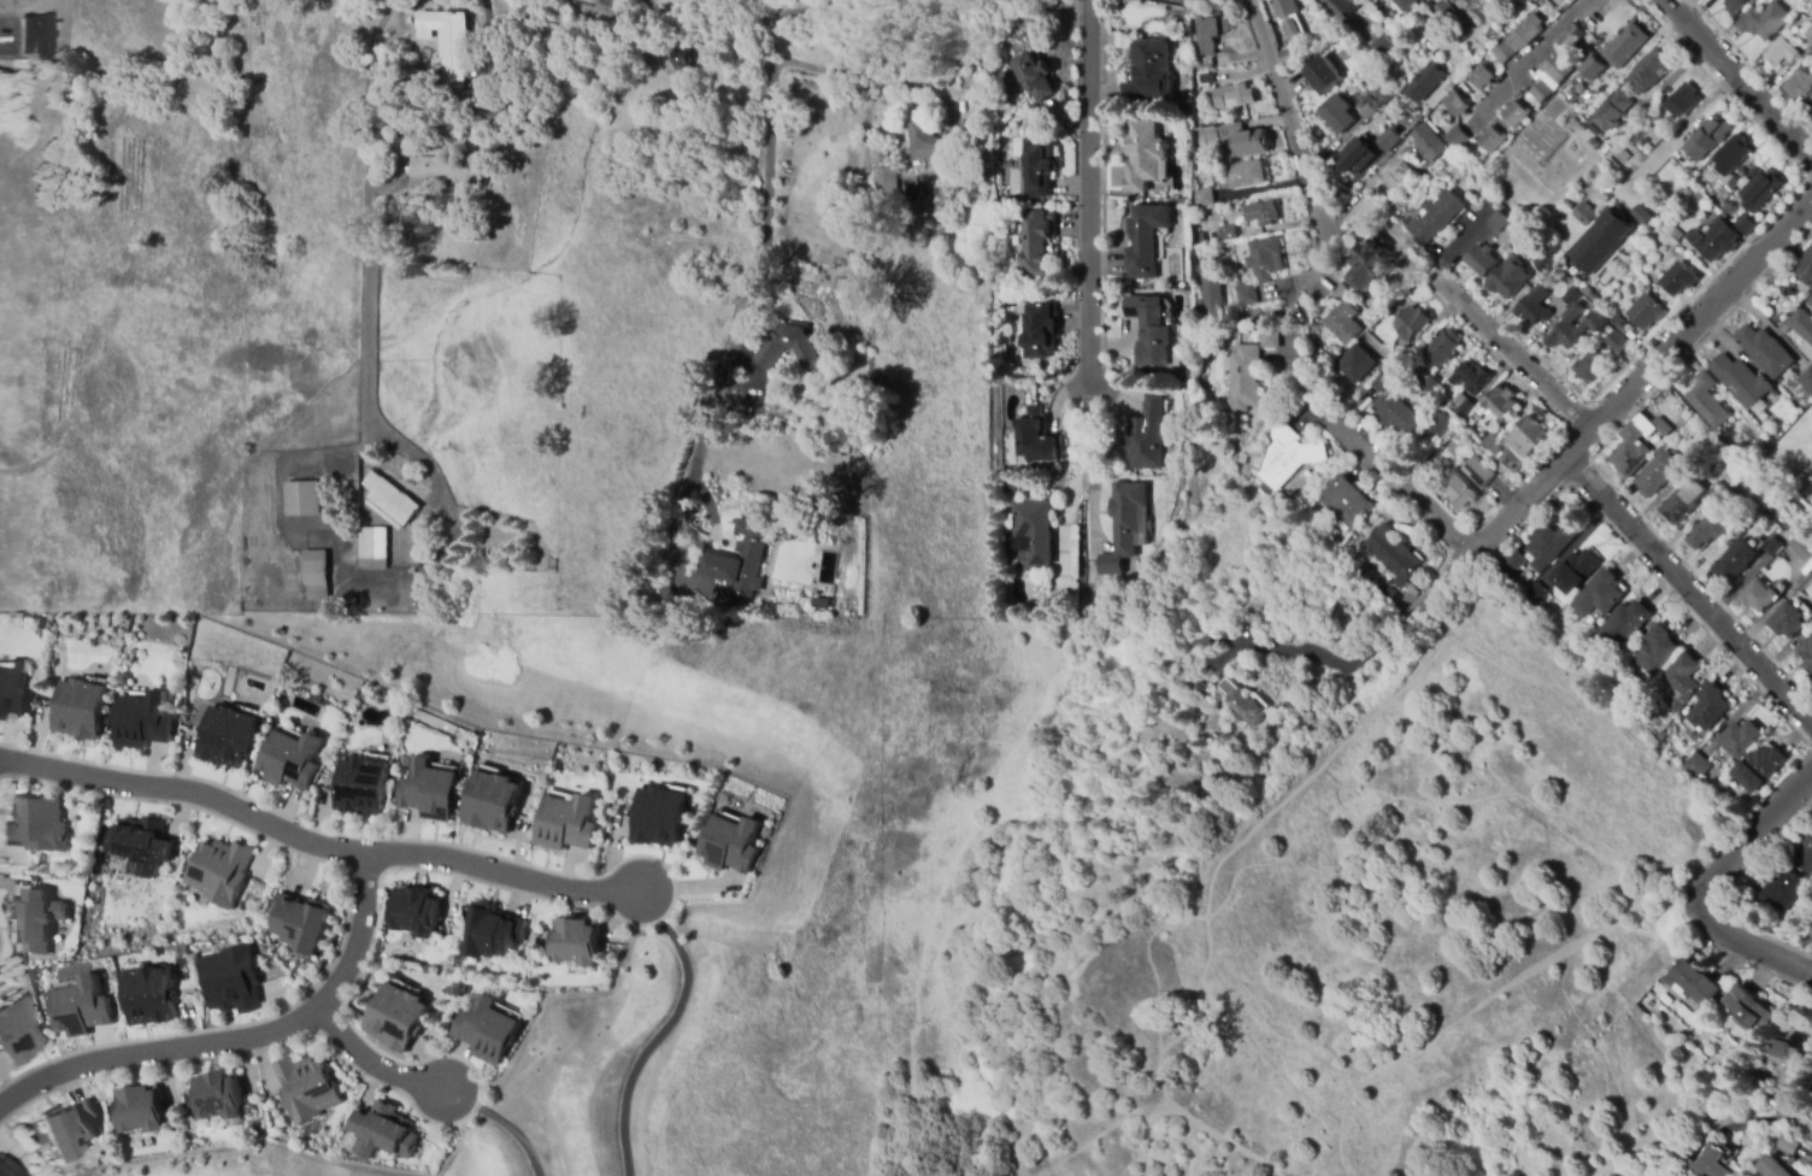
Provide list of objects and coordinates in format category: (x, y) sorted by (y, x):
building: (1475, 0)
building: (1530, 0)
building: (1481, 1)
building: (1405, 4)
building: (1342, 5)
building: (1736, 6)
building: (1487, 7)
building: (608, 8)
building: (1284, 10)
building: (1446, 13)
building: (1473, 18)
building: (1764, 22)
building: (1810, 33)
building: (1206, 36)
building: (40, 37)
building: (1571, 37)
building: (1519, 39)
building: (448, 43)
building: (1625, 46)
building: (1379, 48)
building: (1782, 51)
building: (1288, 55)
road: (1529, 55)
building: (681, 59)
building: (124, 61)
building: (1593, 67)
building: (1558, 69)
building: (1649, 69)
building: (1148, 70)
building: (1323, 72)
building: (1035, 76)
building: (1482, 76)
road: (881, 80)
building: (1206, 80)
road: (1739, 80)
building: (1425, 83)
building: (1799, 87)
building: (1578, 88)
building: (1542, 92)
building: (1381, 94)
building: (1567, 94)
building: (1230, 95)
building: (1585, 96)
building: (1363, 101)
building: (1682, 102)
building: (1457, 104)
building: (1375, 105)
building: (1613, 111)
building: (1366, 112)
building: (1517, 113)
building: (1810, 113)
road: (1286, 114)
building: (1336, 114)
road: (1682, 135)
building: (1458, 137)
building: (1245, 140)
building: (1390, 140)
building: (1492, 140)
building: (1707, 140)
building: (922, 141)
building: (1646, 141)
building: (1405, 142)
building: (1429, 142)
building: (1595, 143)
building: (1647, 148)
building: (1143, 155)
building: (1355, 155)
building: (1624, 155)
building: (1732, 155)
building: (881, 158)
building: (1484, 163)
building: (1612, 165)
building: (1039, 166)
building: (1600, 167)
building: (446, 171)
building: (1753, 171)
building: (1247, 175)
building: (1737, 178)
building: (886, 182)
building: (1390, 192)
building: (1761, 192)
building: (1684, 193)
building: (1202, 198)
building: (1569, 204)
road: (373, 210)
road: (767, 210)
building: (1263, 213)
building: (1442, 213)
building: (1642, 213)
building: (1584, 214)
building: (940, 218)
road: (1088, 220)
building: (1499, 220)
building: (1746, 225)
building: (1671, 231)
building: (1228, 234)
building: (1201, 237)
building: (1145, 240)
building: (1716, 240)
building: (1600, 241)
building: (1035, 243)
building: (1265, 259)
building: (1482, 260)
building: (1371, 263)
building: (1545, 265)
building: (971, 266)
building: (1804, 267)
building: (1508, 278)
building: (1679, 280)
building: (1241, 281)
building: (1572, 295)
building: (1246, 296)
building: (1593, 298)
building: (1010, 301)
building: (1810, 301)
building: (1210, 302)
building: (1534, 307)
building: (1646, 312)
building: (1777, 319)
building: (1343, 323)
building: (1411, 324)
building: (1801, 324)
building: (1620, 325)
building: (1575, 328)
building: (1784, 329)
building: (1149, 331)
building: (1039, 333)
building: (1270, 339)
building: (1616, 342)
building: (790, 343)
road: (1506, 347)
building: (1442, 348)
building: (1765, 351)
building: (1402, 355)
building: (1357, 364)
building: (1592, 366)
building: (1381, 376)
building: (1470, 377)
building: (1243, 378)
building: (1806, 380)
building: (1741, 381)
building: (1429, 382)
building: (1775, 393)
building: (1708, 401)
building: (1500, 402)
building: (1460, 405)
building: (1396, 417)
building: (1436, 425)
building: (1464, 434)
building: (1530, 434)
building: (1148, 436)
building: (1037, 439)
building: (1488, 440)
building: (1636, 445)
building: (1435, 452)
building: (1495, 452)
building: (1286, 455)
building: (1510, 460)
building: (1685, 471)
building: (1477, 472)
building: (1657, 475)
road: (1541, 478)
road: (1392, 480)
building: (1011, 488)
building: (1459, 490)
building: (1712, 496)
building: (304, 499)
building: (390, 501)
building: (1346, 501)
building: (1682, 501)
building: (1126, 527)
building: (1792, 528)
building: (1034, 529)
building: (1711, 530)
building: (1551, 545)
road: (694, 546)
building: (1772, 547)
building: (372, 548)
building: (1801, 548)
building: (1393, 553)
building: (743, 555)
building: (1734, 560)
building: (1508, 566)
building: (1090, 570)
building: (1575, 571)
building: (317, 576)
road: (1688, 589)
building: (1536, 594)
building: (1599, 595)
building: (1758, 596)
building: (1389, 598)
building: (1624, 621)
building: (1788, 622)
building: (1202, 645)
building: (1654, 651)
building: (1806, 655)
building: (1679, 682)
building: (12, 690)
building: (1202, 690)
building: (80, 706)
building: (1247, 707)
building: (1707, 707)
building: (143, 718)
building: (1671, 730)
building: (226, 734)
building: (1661, 735)
building: (1693, 736)
building: (1740, 740)
building: (289, 757)
building: (1696, 765)
building: (1759, 768)
building: (360, 783)
building: (430, 790)
building: (1722, 794)
building: (492, 801)
building: (565, 818)
building: (658, 818)
building: (34, 830)
building: (766, 830)
road: (1743, 842)
building: (143, 843)
building: (729, 843)
road: (319, 845)
building: (1804, 855)
building: (218, 871)
building: (1779, 890)
road: (1200, 909)
building: (414, 911)
building: (299, 921)
building: (33, 923)
building: (489, 933)
building: (575, 942)
road: (1755, 946)
building: (230, 980)
road: (1518, 980)
building: (1693, 983)
building: (148, 996)
building: (80, 1010)
building: (1748, 1010)
building: (398, 1016)
building: (19, 1030)
building: (484, 1030)
road: (659, 1031)
road: (239, 1041)
road: (375, 1064)
building: (1790, 1064)
building: (308, 1088)
building: (218, 1094)
building: (140, 1110)
road: (505, 1123)
building: (69, 1129)
building: (383, 1131)
building: (1787, 1145)
building: (1711, 1163)
building: (1771, 1168)
building: (8, 1169)

